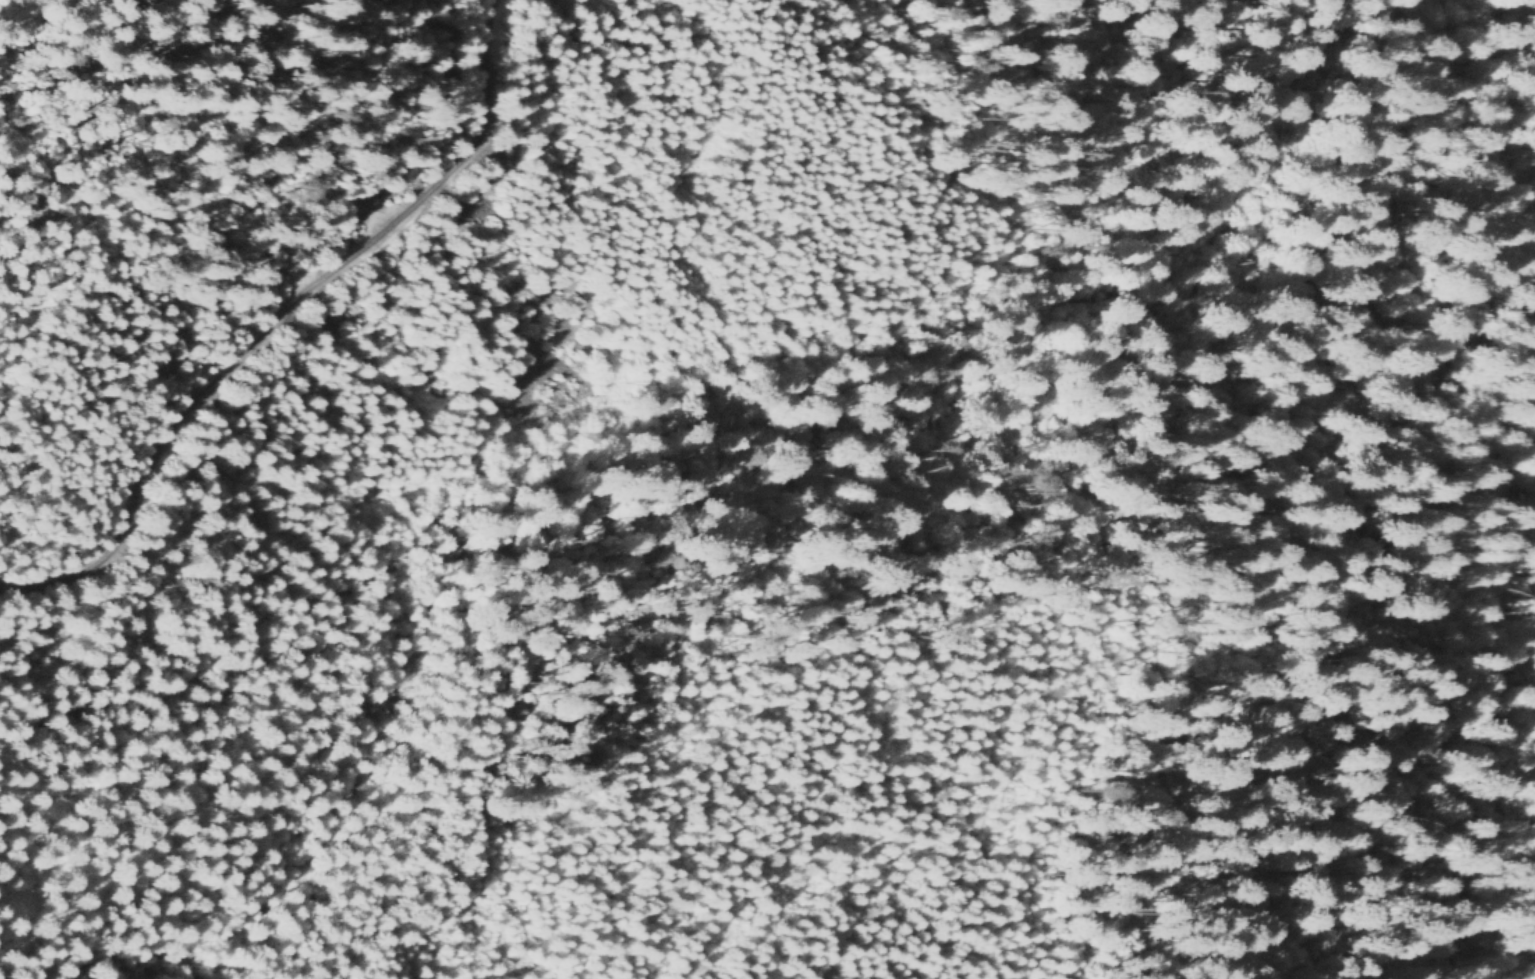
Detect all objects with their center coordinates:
road: (277, 317)

